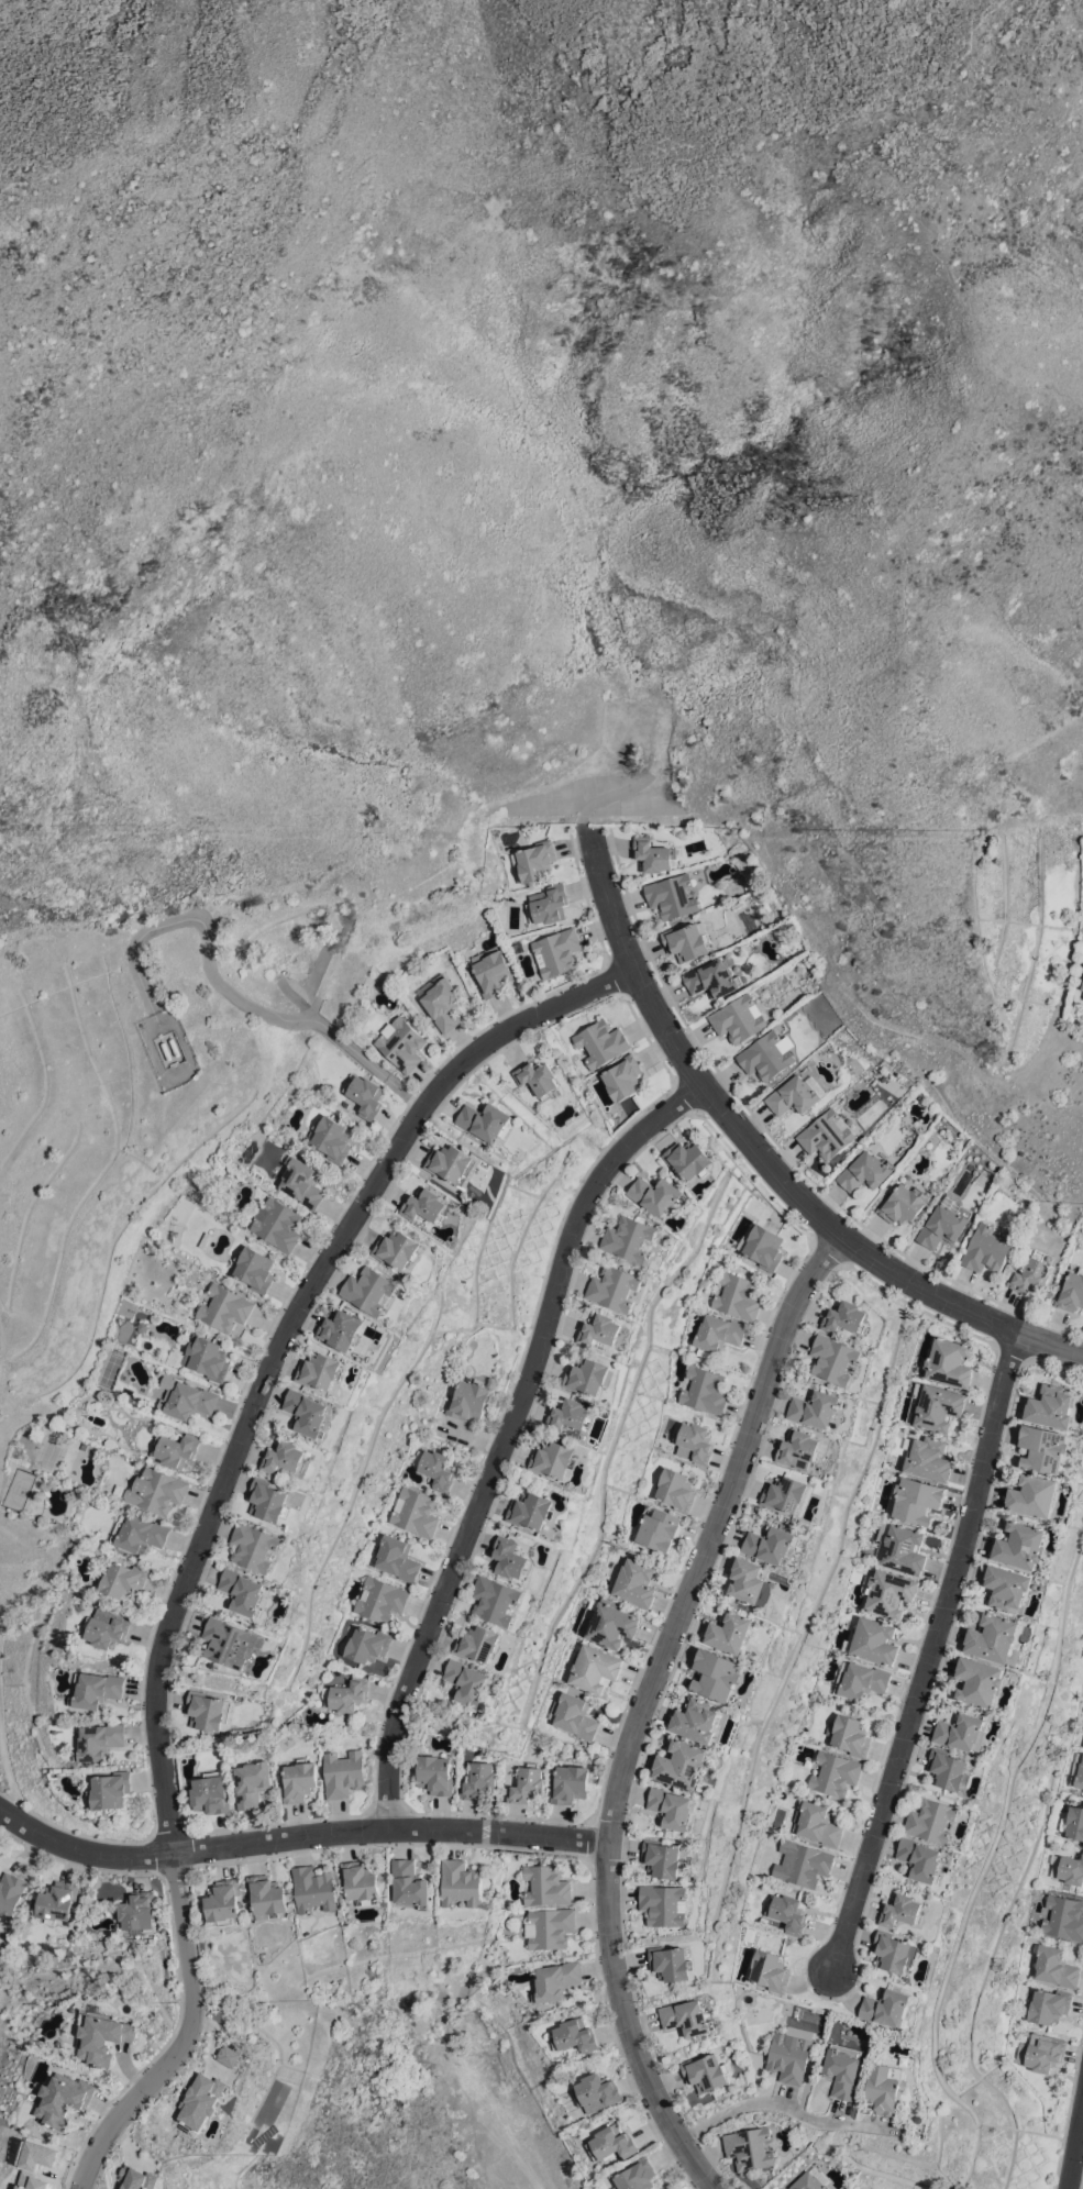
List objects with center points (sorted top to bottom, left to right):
road: (980, 23)
building: (654, 854)
building: (533, 861)
building: (672, 895)
building: (548, 904)
building: (738, 905)
building: (687, 940)
building: (517, 946)
building: (556, 952)
building: (490, 971)
building: (711, 979)
building: (1082, 985)
road: (224, 986)
building: (441, 1000)
building: (738, 1019)
building: (601, 1042)
building: (401, 1043)
building: (765, 1057)
building: (623, 1076)
building: (539, 1079)
building: (796, 1094)
building: (365, 1095)
building: (486, 1120)
building: (826, 1134)
building: (331, 1138)
road: (763, 1157)
building: (688, 1159)
building: (452, 1163)
building: (865, 1171)
building: (301, 1182)
building: (229, 1187)
building: (656, 1194)
building: (902, 1204)
building: (424, 1205)
building: (277, 1223)
building: (944, 1223)
building: (630, 1238)
building: (206, 1239)
building: (762, 1246)
building: (398, 1248)
building: (986, 1248)
building: (255, 1268)
building: (1031, 1273)
building: (615, 1287)
building: (372, 1290)
building: (1071, 1292)
building: (737, 1296)
building: (225, 1307)
building: (844, 1316)
building: (143, 1325)
building: (342, 1329)
building: (599, 1329)
building: (717, 1333)
building: (207, 1357)
building: (833, 1358)
building: (948, 1362)
building: (321, 1370)
building: (587, 1374)
building: (703, 1390)
building: (188, 1398)
building: (468, 1398)
building: (93, 1405)
building: (933, 1406)
building: (1052, 1406)
building: (815, 1407)
building: (308, 1412)
building: (570, 1415)
road: (502, 1434)
building: (694, 1441)
building: (85, 1444)
building: (177, 1448)
building: (1045, 1448)
building: (798, 1449)
building: (285, 1457)
building: (927, 1457)
building: (553, 1459)
building: (435, 1468)
road: (3, 1489)
building: (675, 1489)
building: (119, 1490)
building: (157, 1490)
building: (787, 1494)
building: (1036, 1495)
building: (269, 1500)
building: (916, 1500)
building: (532, 1510)
building: (416, 1512)
road: (211, 1516)
building: (659, 1528)
building: (139, 1532)
building: (772, 1545)
building: (1021, 1545)
building: (254, 1546)
building: (900, 1547)
building: (397, 1557)
building: (512, 1558)
building: (854, 1574)
building: (123, 1579)
building: (636, 1582)
building: (751, 1582)
building: (1008, 1587)
building: (243, 1591)
building: (888, 1592)
building: (382, 1599)
building: (496, 1599)
building: (611, 1624)
building: (107, 1629)
building: (731, 1633)
building: (996, 1638)
building: (228, 1641)
building: (873, 1641)
building: (480, 1643)
building: (367, 1644)
building: (564, 1651)
road: (928, 1651)
building: (754, 1655)
building: (595, 1669)
building: (557, 1670)
building: (718, 1674)
building: (860, 1679)
building: (981, 1681)
building: (471, 1682)
building: (96, 1689)
building: (346, 1694)
road: (642, 1706)
building: (1082, 1707)
building: (207, 1710)
building: (476, 1712)
building: (574, 1715)
building: (697, 1721)
building: (963, 1732)
building: (850, 1734)
building: (99, 1740)
building: (683, 1764)
building: (949, 1768)
building: (1078, 1770)
building: (343, 1772)
building: (434, 1773)
building: (836, 1773)
building: (299, 1780)
building: (478, 1780)
building: (252, 1783)
building: (570, 1783)
building: (527, 1784)
building: (110, 1790)
building: (211, 1792)
building: (675, 1807)
building: (932, 1820)
building: (1063, 1821)
building: (1075, 1822)
building: (817, 1823)
road: (298, 1835)
building: (664, 1858)
building: (921, 1859)
building: (806, 1864)
building: (1067, 1868)
building: (361, 1881)
building: (409, 1882)
building: (461, 1882)
building: (546, 1884)
building: (313, 1888)
building: (10, 1893)
building: (267, 1895)
building: (57, 1901)
building: (223, 1903)
building: (665, 1904)
building: (903, 1910)
building: (137, 1912)
building: (788, 1913)
building: (1063, 1916)
building: (551, 1926)
building: (749, 1934)
building: (895, 1950)
building: (672, 1963)
building: (1056, 1966)
building: (770, 1970)
building: (556, 1980)
building: (1048, 2004)
building: (889, 2008)
building: (687, 2017)
building: (101, 2034)
building: (575, 2034)
building: (1040, 2052)
building: (230, 2055)
building: (789, 2057)
building: (846, 2069)
building: (706, 2071)
building: (889, 2087)
building: (598, 2089)
building: (63, 2099)
building: (201, 2100)
road: (791, 2104)
building: (614, 2143)
road: (1074, 2146)
building: (750, 2147)
building: (48, 2155)
building: (638, 2175)
building: (136, 2178)
building: (32, 2180)
building: (811, 2180)

